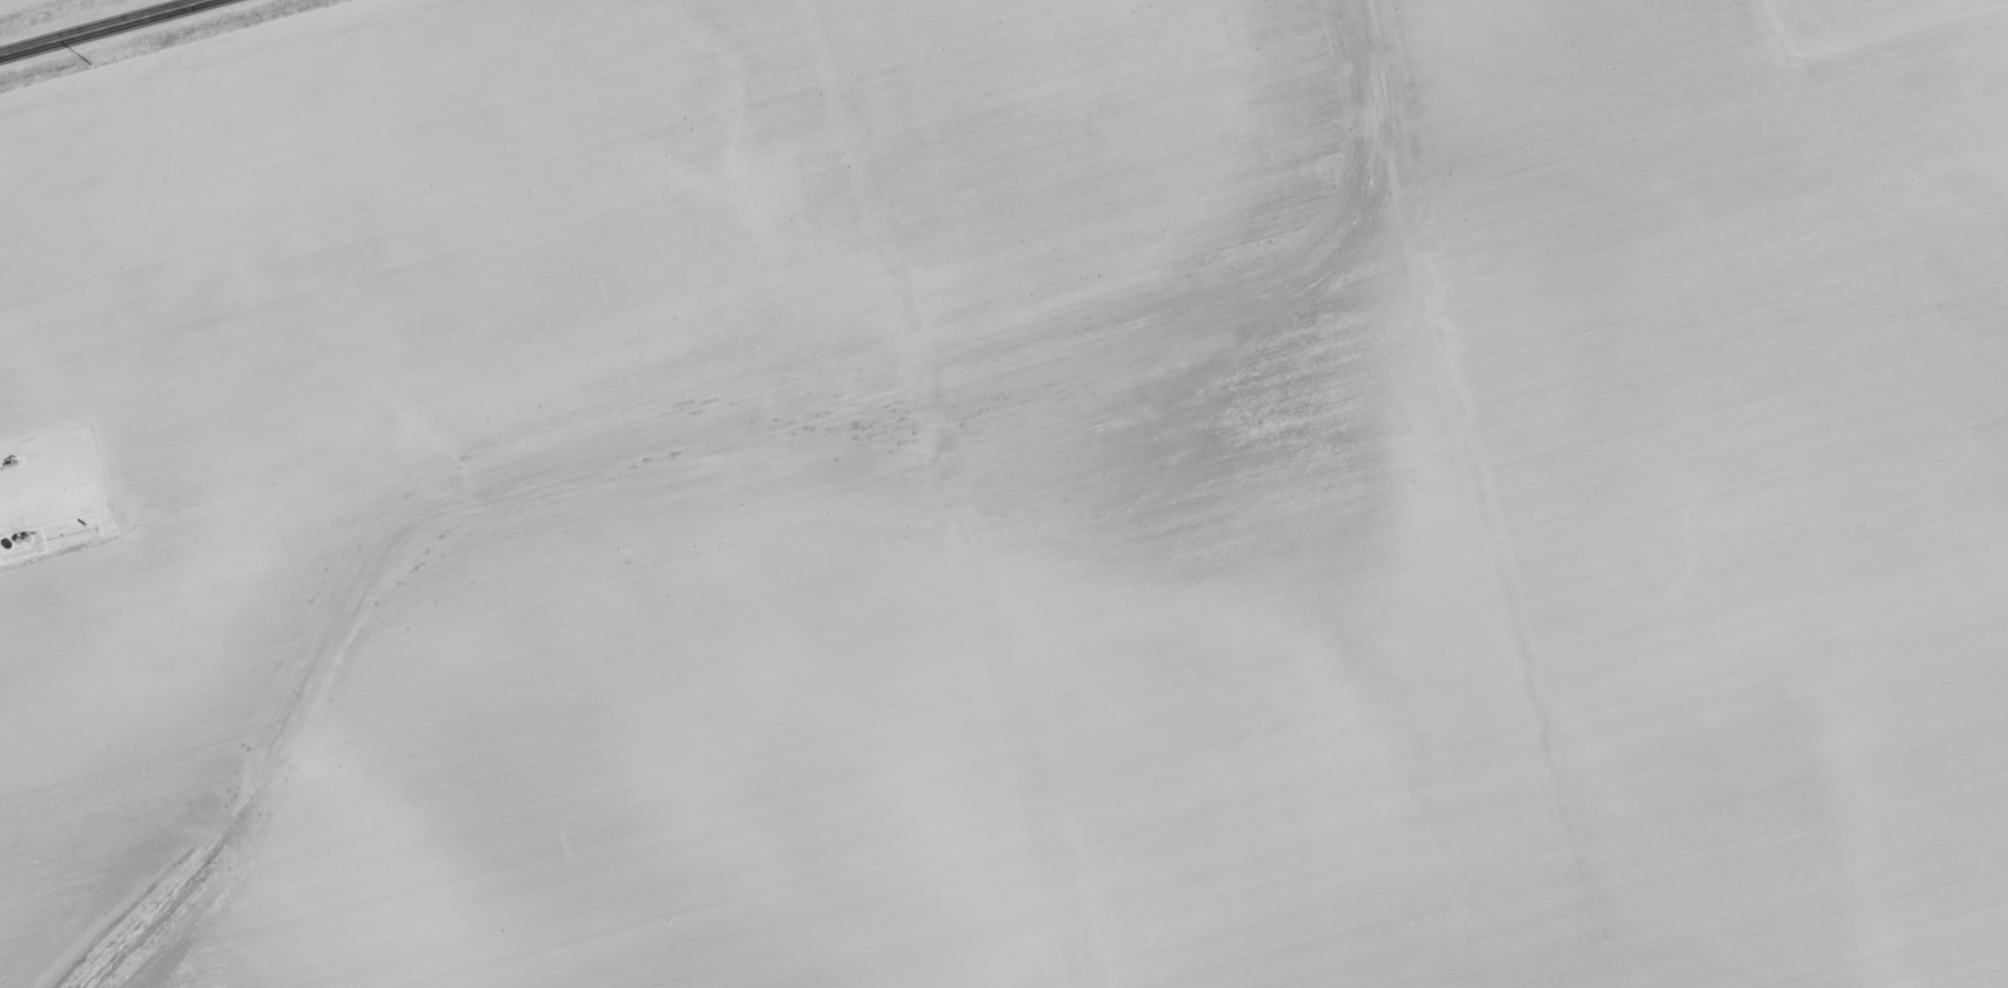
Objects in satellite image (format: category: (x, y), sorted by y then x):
road: (91, 23)
power tower: (83, 68)

